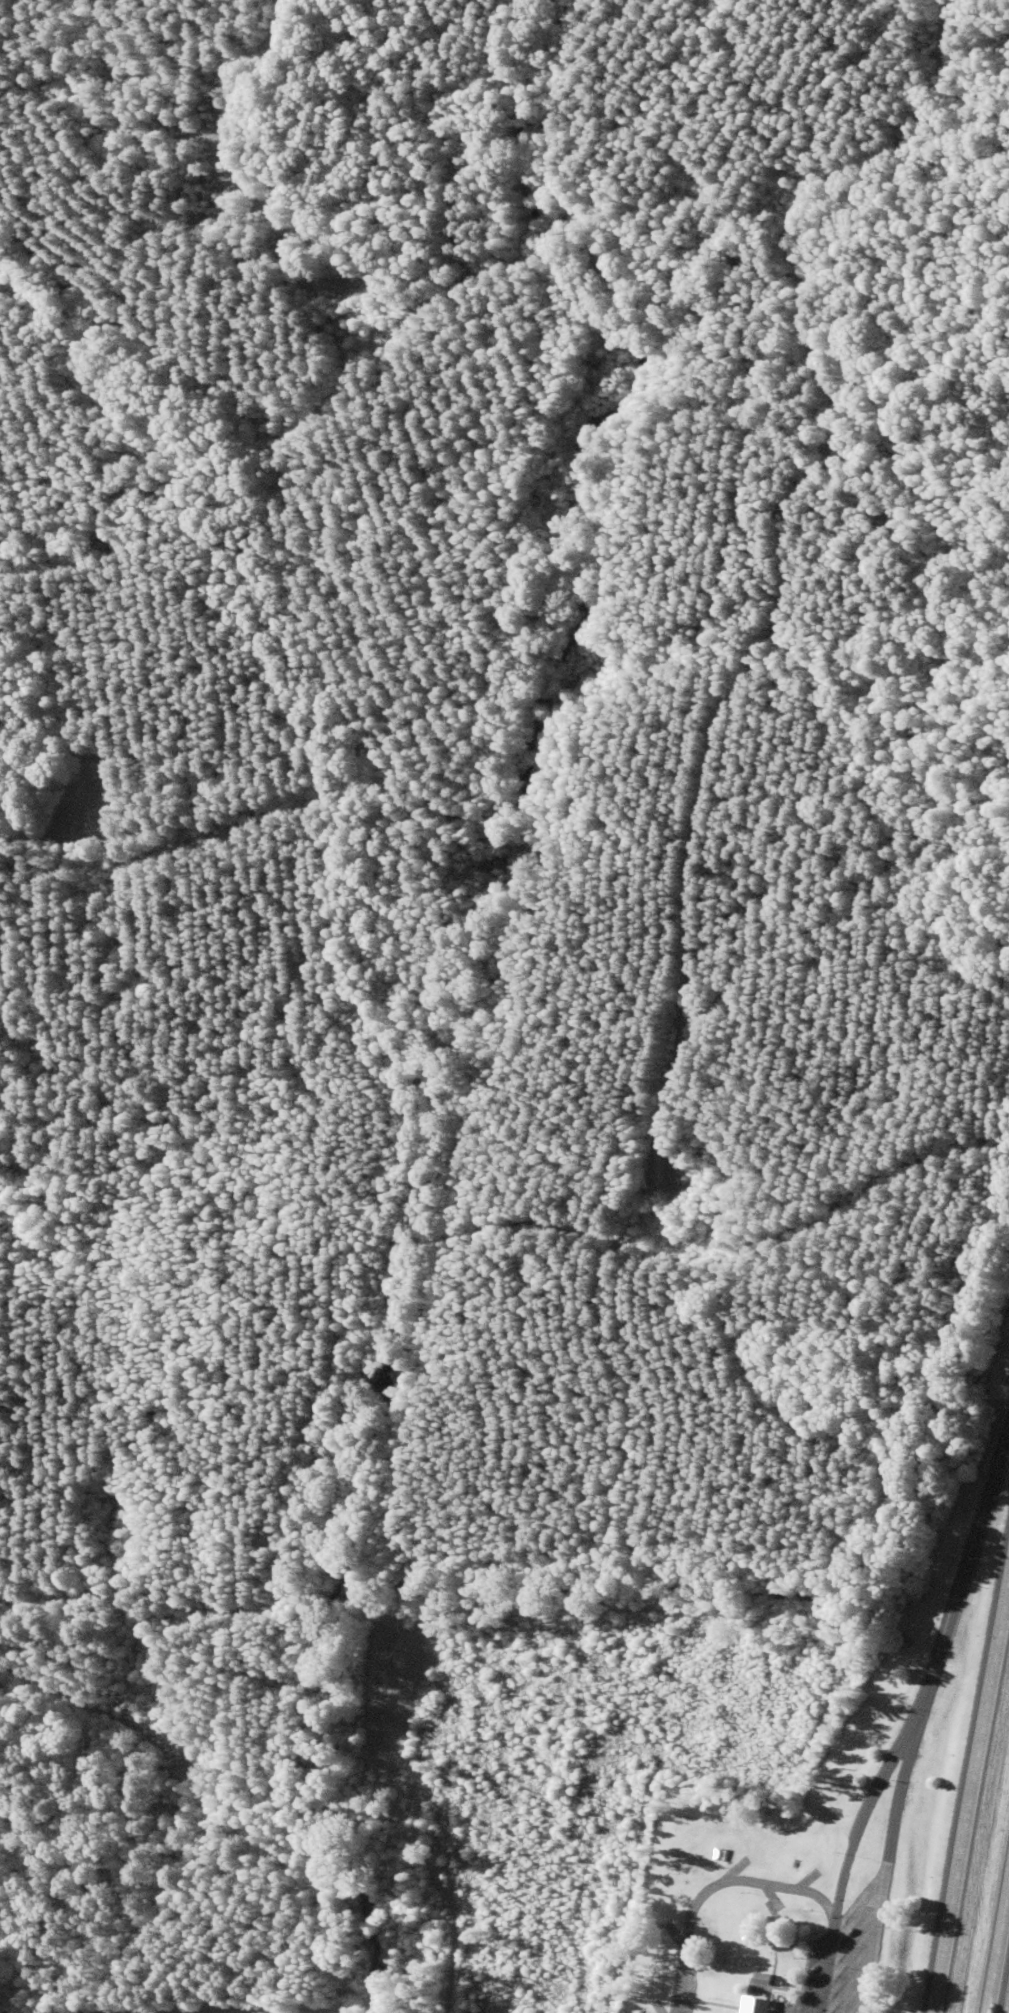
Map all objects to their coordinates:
road: (900, 1717)
road: (964, 1772)
road: (995, 1934)
building: (753, 2005)

